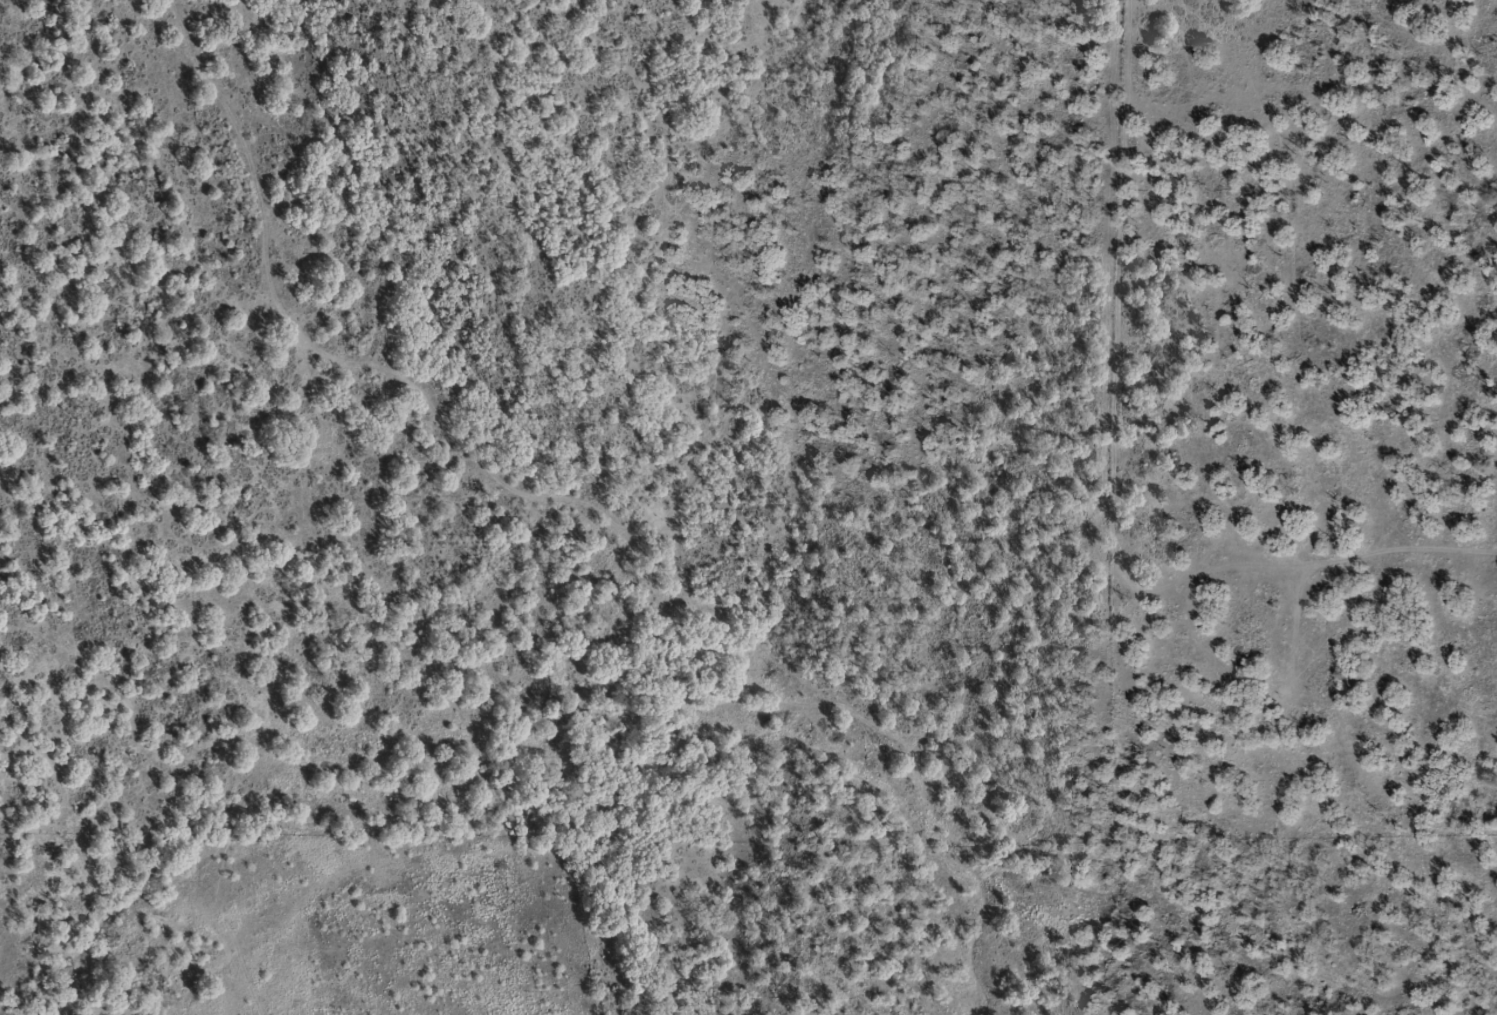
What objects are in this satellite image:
road: (1319, 504)

